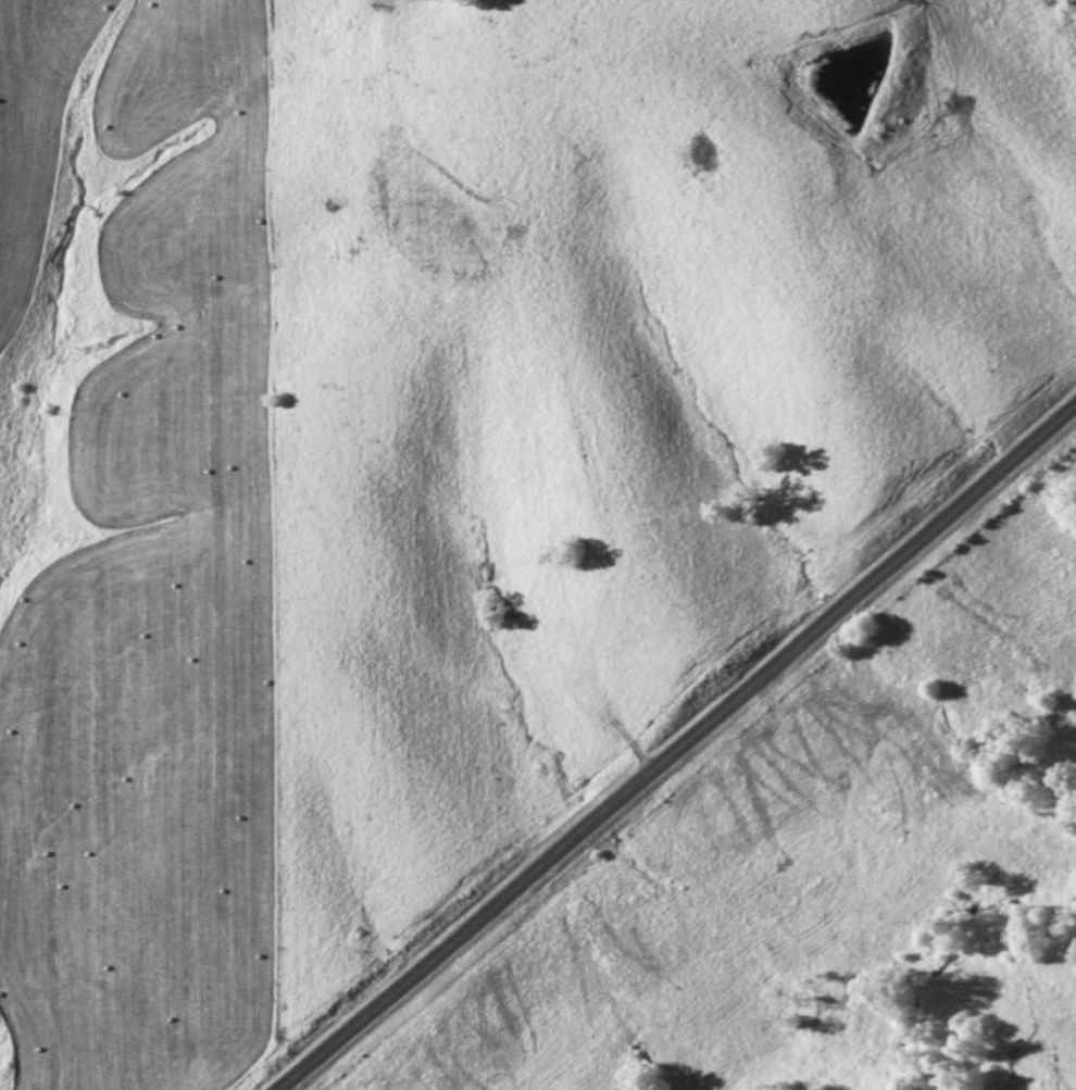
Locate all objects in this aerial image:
road: (677, 748)

